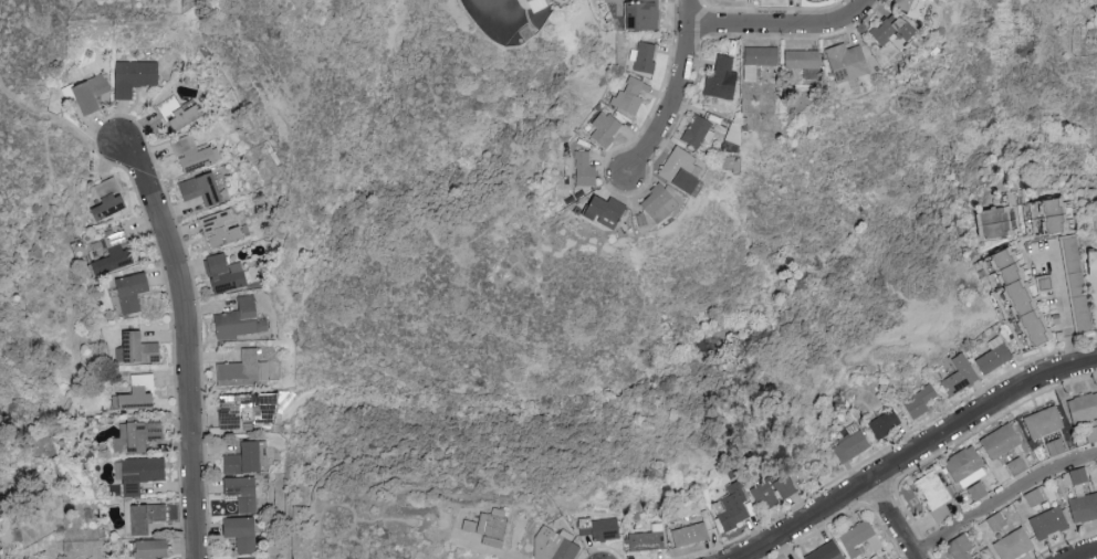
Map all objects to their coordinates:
building: (537, 4)
building: (911, 6)
building: (644, 14)
building: (895, 29)
road: (787, 31)
building: (645, 56)
building: (760, 60)
building: (805, 62)
building: (849, 62)
building: (135, 76)
building: (723, 78)
building: (90, 93)
building: (630, 96)
road: (680, 96)
building: (180, 113)
building: (606, 128)
building: (699, 130)
building: (191, 151)
building: (586, 169)
building: (685, 170)
building: (203, 189)
building: (111, 199)
building: (660, 202)
building: (607, 211)
building: (1047, 215)
building: (996, 222)
building: (223, 229)
building: (115, 253)
building: (1096, 263)
building: (228, 273)
building: (1064, 281)
building: (1045, 283)
building: (134, 291)
road: (1062, 293)
building: (1018, 299)
building: (242, 319)
road: (187, 345)
building: (139, 349)
road: (1073, 352)
building: (995, 356)
building: (244, 370)
building: (961, 376)
building: (140, 392)
building: (921, 401)
building: (1083, 408)
building: (248, 412)
building: (1044, 422)
building: (886, 423)
building: (1090, 434)
building: (134, 436)
building: (1002, 441)
building: (850, 444)
building: (1056, 446)
road: (918, 454)
building: (247, 458)
building: (1016, 466)
building: (968, 467)
building: (142, 473)
building: (1079, 476)
building: (788, 487)
building: (978, 492)
building: (243, 493)
building: (936, 495)
building: (765, 496)
building: (1035, 496)
road: (1002, 498)
building: (735, 507)
building: (1085, 507)
building: (147, 517)
road: (895, 520)
building: (1049, 523)
building: (489, 526)
building: (607, 529)
building: (586, 531)
building: (242, 532)
building: (691, 535)
building: (648, 539)
building: (861, 539)
building: (555, 545)
building: (1014, 545)
building: (962, 548)
building: (154, 549)
road: (1093, 557)

